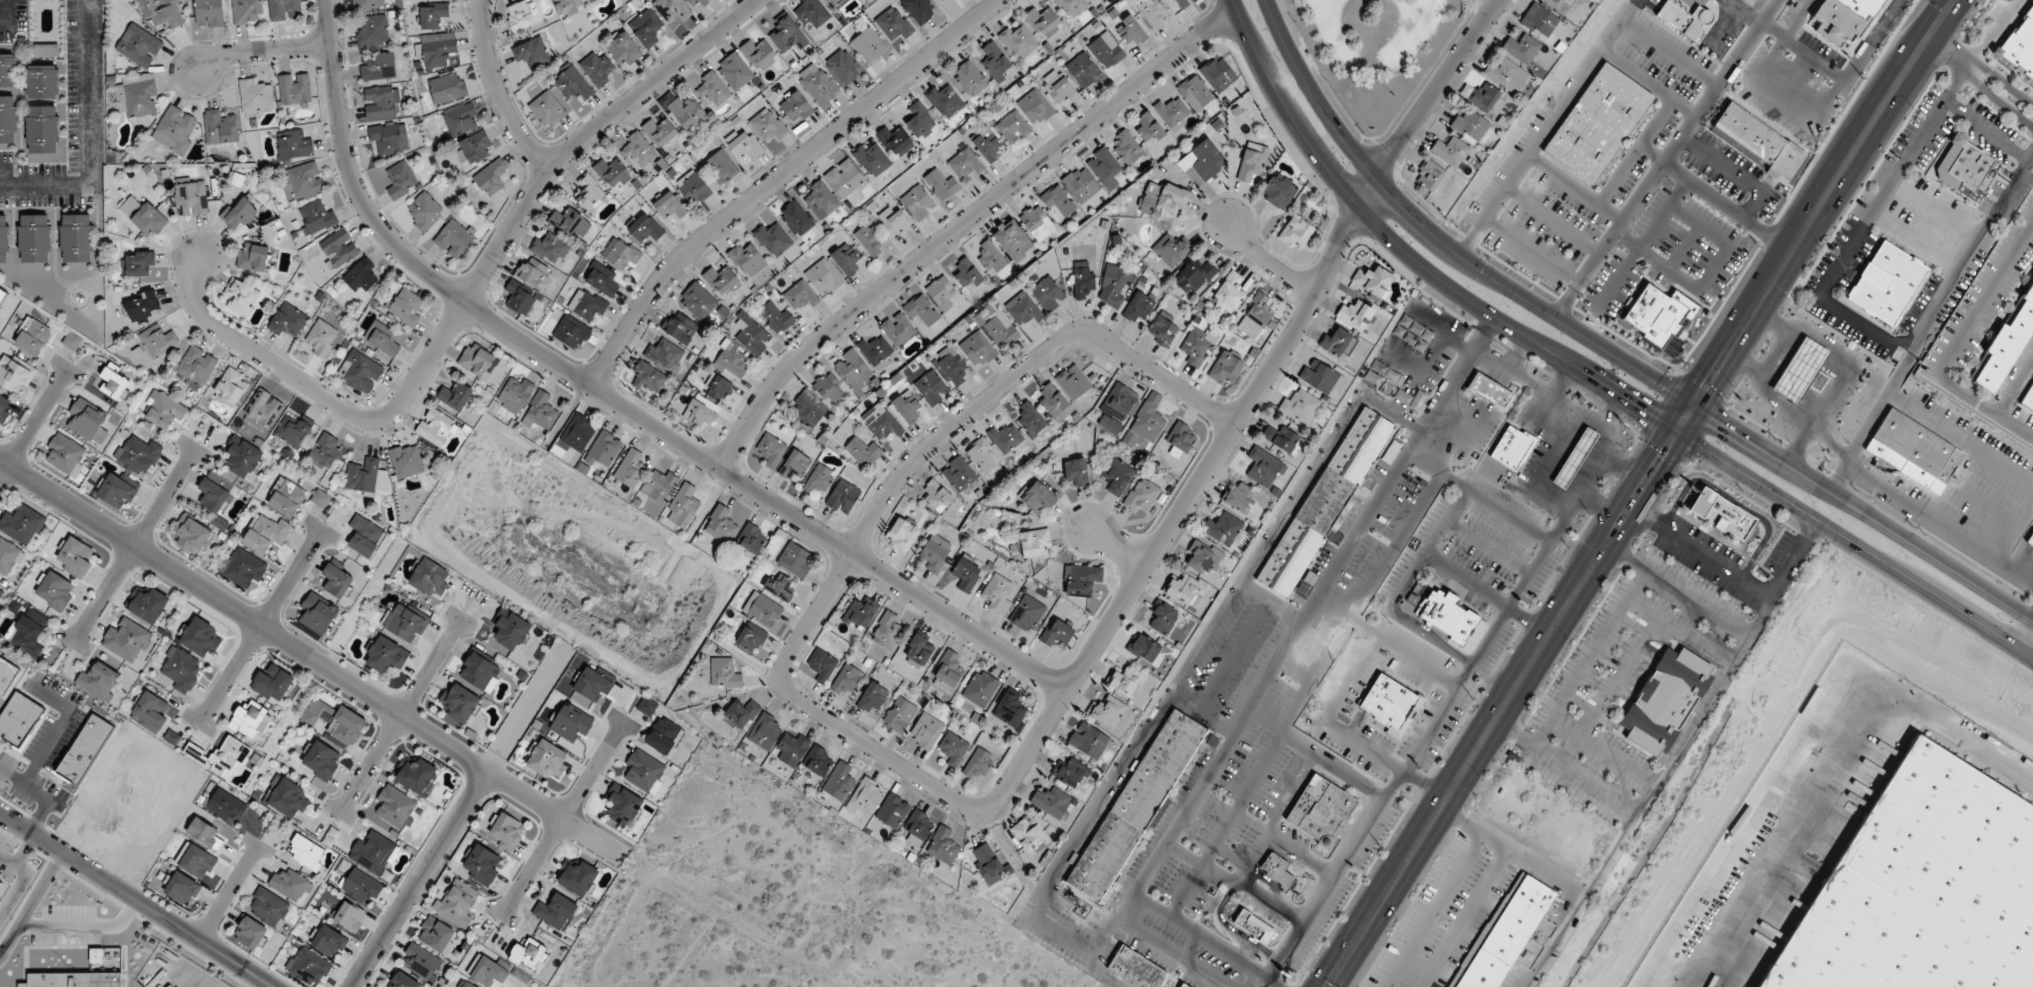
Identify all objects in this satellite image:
building: (593, 1)
building: (1094, 1)
road: (0, 3)
building: (696, 3)
building: (1182, 3)
building: (1555, 3)
building: (368, 4)
building: (835, 4)
building: (567, 6)
building: (1071, 7)
building: (1864, 8)
building: (284, 10)
building: (918, 10)
road: (1744, 10)
building: (246, 11)
building: (672, 11)
building: (810, 12)
road: (1, 13)
building: (159, 13)
building: (209, 13)
building: (1153, 13)
building: (432, 15)
building: (519, 16)
building: (1683, 19)
building: (1544, 21)
building: (1042, 22)
building: (893, 24)
building: (646, 28)
building: (373, 31)
building: (1130, 31)
building: (787, 35)
building: (1018, 42)
building: (2019, 45)
building: (138, 46)
building: (869, 46)
building: (435, 48)
building: (1522, 49)
building: (44, 50)
road: (260, 50)
building: (623, 50)
building: (1106, 50)
building: (531, 53)
building: (759, 54)
building: (995, 63)
building: (377, 66)
building: (843, 66)
building: (597, 68)
building: (8, 70)
building: (1082, 70)
building: (734, 71)
building: (1218, 74)
building: (1507, 76)
road: (1981, 76)
power tower: (1861, 77)
building: (970, 79)
building: (42, 81)
building: (572, 84)
building: (818, 85)
building: (447, 88)
building: (1060, 89)
building: (294, 90)
building: (712, 90)
road: (498, 92)
building: (1195, 92)
building: (137, 96)
building: (256, 98)
building: (1486, 98)
building: (945, 100)
building: (381, 102)
building: (1035, 107)
building: (548, 108)
building: (794, 109)
building: (686, 113)
building: (1172, 113)
building: (8, 119)
building: (461, 120)
building: (920, 121)
building: (1596, 124)
building: (1469, 125)
building: (220, 127)
building: (769, 127)
building: (1013, 127)
road: (1546, 127)
building: (42, 129)
building: (1150, 129)
road: (89, 130)
building: (175, 130)
building: (661, 134)
building: (389, 138)
building: (894, 141)
building: (987, 145)
building: (293, 146)
building: (745, 147)
building: (474, 148)
building: (1127, 148)
building: (637, 150)
building: (1450, 151)
road: (1663, 157)
building: (871, 159)
building: (1207, 159)
building: (1252, 162)
building: (965, 164)
building: (720, 167)
building: (1105, 168)
building: (1964, 169)
building: (612, 172)
building: (1429, 175)
road: (4, 176)
road: (778, 177)
building: (844, 178)
building: (490, 179)
building: (400, 180)
building: (302, 182)
road: (4, 183)
building: (940, 183)
building: (1081, 184)
building: (694, 189)
building: (1279, 191)
road: (1883, 191)
building: (590, 193)
building: (190, 198)
building: (1163, 199)
building: (820, 200)
road: (1823, 200)
building: (1058, 202)
building: (918, 203)
building: (670, 206)
road: (1726, 206)
building: (423, 211)
building: (239, 213)
building: (143, 216)
building: (317, 216)
building: (796, 218)
building: (567, 221)
building: (893, 221)
building: (1036, 223)
road: (962, 224)
building: (645, 227)
building: (1296, 232)
building: (75, 238)
building: (3, 239)
building: (33, 239)
building: (454, 239)
building: (772, 239)
building: (868, 239)
building: (1012, 240)
road: (1441, 241)
power tower: (1758, 242)
road: (1972, 243)
building: (338, 248)
building: (550, 248)
building: (1170, 250)
building: (621, 254)
building: (253, 257)
road: (1412, 257)
building: (990, 258)
building: (746, 259)
building: (846, 260)
road: (1269, 261)
building: (139, 263)
building: (533, 272)
building: (966, 275)
building: (361, 276)
building: (1194, 277)
building: (823, 278)
building: (601, 279)
building: (1082, 279)
building: (720, 280)
building: (1372, 281)
building: (1887, 283)
building: (1115, 284)
building: (941, 293)
building: (2, 294)
building: (1047, 294)
building: (1228, 294)
building: (800, 296)
building: (241, 297)
building: (520, 297)
road: (467, 299)
building: (698, 301)
building: (141, 305)
building: (405, 306)
building: (588, 306)
building: (1138, 308)
building: (920, 311)
building: (1024, 313)
building: (1355, 315)
building: (1256, 316)
building: (775, 317)
building: (287, 320)
building: (680, 327)
building: (897, 329)
building: (1000, 330)
building: (1161, 331)
building: (571, 332)
building: (751, 334)
building: (32, 337)
building: (320, 338)
building: (383, 338)
building: (72, 341)
building: (158, 341)
building: (1337, 342)
building: (1198, 345)
building: (2008, 345)
building: (874, 350)
building: (977, 350)
building: (664, 353)
building: (477, 360)
building: (733, 363)
road: (1846, 363)
power tower: (1684, 364)
building: (951, 366)
building: (195, 368)
building: (1226, 368)
building: (853, 370)
building: (1800, 370)
gas station: (1799, 371)
building: (360, 372)
building: (14, 373)
building: (1320, 377)
building: (647, 379)
traffic signals: (1709, 380)
building: (1073, 382)
building: (1817, 382)
building: (115, 383)
building: (897, 383)
building: (230, 387)
building: (828, 388)
building: (931, 388)
building: (719, 390)
building: (1488, 392)
building: (514, 394)
building: (455, 396)
building: (1054, 402)
building: (2029, 402)
road: (618, 403)
road: (1247, 405)
building: (1299, 405)
building: (907, 407)
road: (1782, 407)
building: (4, 408)
building: (808, 409)
building: (1117, 409)
building: (163, 410)
building: (262, 410)
building: (541, 410)
traffic signals: (1642, 410)
building: (699, 413)
road: (1873, 413)
road: (1686, 417)
building: (86, 419)
building: (1030, 419)
road: (34, 420)
building: (1146, 421)
building: (881, 422)
traffic signals: (1727, 423)
building: (435, 427)
building: (295, 432)
building: (578, 432)
building: (1004, 438)
building: (1181, 440)
building: (1283, 440)
building: (1510, 449)
building: (603, 450)
building: (771, 450)
building: (326, 451)
building: (864, 451)
building: (1912, 452)
building: (65, 455)
building: (137, 455)
building: (981, 455)
building: (243, 458)
gas station: (1574, 458)
building: (1575, 458)
traffic signals: (1660, 459)
building: (406, 461)
road: (1624, 465)
building: (795, 466)
building: (1263, 468)
building: (630, 469)
building: (1076, 473)
building: (958, 474)
building: (362, 475)
building: (1117, 476)
building: (819, 480)
building: (657, 490)
building: (116, 491)
building: (321, 496)
building: (843, 497)
building: (936, 497)
building: (1142, 497)
building: (286, 498)
building: (1238, 498)
road: (1554, 498)
building: (1039, 499)
building: (215, 501)
road: (1601, 502)
building: (1323, 504)
building: (684, 506)
road: (879, 507)
road: (1863, 510)
power tower: (1589, 513)
building: (1721, 515)
building: (721, 524)
building: (23, 526)
road: (1937, 526)
building: (1223, 529)
building: (265, 534)
building: (900, 535)
building: (192, 536)
building: (365, 536)
building: (752, 538)
building: (2030, 539)
road: (133, 544)
building: (1033, 544)
road: (1855, 544)
road: (1115, 549)
building: (934, 553)
building: (8, 558)
building: (75, 558)
building: (795, 560)
building: (1201, 560)
building: (242, 570)
building: (966, 574)
building: (430, 578)
building: (337, 579)
building: (1081, 581)
building: (781, 587)
building: (0, 588)
building: (1181, 589)
building: (54, 591)
building: (998, 594)
building: (147, 605)
building: (765, 611)
building: (317, 614)
building: (860, 614)
building: (1026, 614)
building: (1163, 617)
building: (1450, 618)
building: (405, 622)
road: (259, 625)
building: (511, 629)
building: (28, 632)
building: (887, 632)
building: (1056, 633)
building: (199, 638)
building: (751, 638)
building: (125, 639)
road: (2027, 639)
building: (920, 648)
building: (1143, 648)
building: (385, 655)
road: (313, 660)
building: (823, 666)
building: (180, 669)
building: (480, 671)
building: (724, 673)
building: (948, 673)
building: (7, 676)
building: (847, 679)
building: (98, 681)
building: (1124, 681)
building: (272, 683)
building: (594, 683)
building: (980, 689)
building: (873, 698)
power tower: (1471, 699)
building: (1662, 699)
building: (459, 703)
building: (1388, 705)
building: (647, 706)
building: (1011, 710)
road: (1503, 710)
building: (150, 712)
building: (1106, 712)
building: (740, 715)
building: (899, 715)
road: (398, 717)
building: (249, 720)
building: (336, 722)
building: (571, 723)
building: (765, 731)
building: (926, 731)
building: (663, 736)
building: (1089, 742)
building: (792, 748)
building: (954, 748)
building: (222, 758)
building: (321, 760)
building: (548, 760)
building: (819, 761)
building: (979, 768)
building: (644, 771)
building: (1070, 773)
building: (415, 774)
road: (1825, 777)
building: (839, 782)
building: (287, 799)
building: (865, 799)
building: (1051, 802)
building: (622, 805)
building: (223, 806)
building: (396, 807)
building: (1133, 807)
building: (1321, 810)
building: (893, 811)
road: (560, 818)
building: (919, 828)
building: (506, 831)
building: (204, 833)
building: (1030, 835)
building: (943, 846)
power tower: (1379, 846)
building: (307, 854)
building: (374, 854)
road: (1517, 855)
building: (196, 862)
building: (988, 863)
building: (481, 865)
building: (1278, 870)
building: (577, 876)
road: (416, 878)
building: (0, 882)
building: (360, 886)
building: (180, 888)
building: (1922, 889)
road: (228, 891)
road: (136, 900)
road: (29, 902)
building: (456, 903)
building: (268, 908)
building: (555, 912)
building: (349, 917)
road: (82, 926)
parking lot: (66, 927)
building: (1251, 927)
building: (250, 933)
building: (1503, 934)
building: (437, 935)
building: (328, 942)
building: (530, 956)
building: (421, 962)
building: (307, 967)
building: (1132, 969)
building: (488, 972)
building: (73, 980)
road: (198, 980)
building: (403, 981)
building: (465, 984)
building: (1180, 985)

